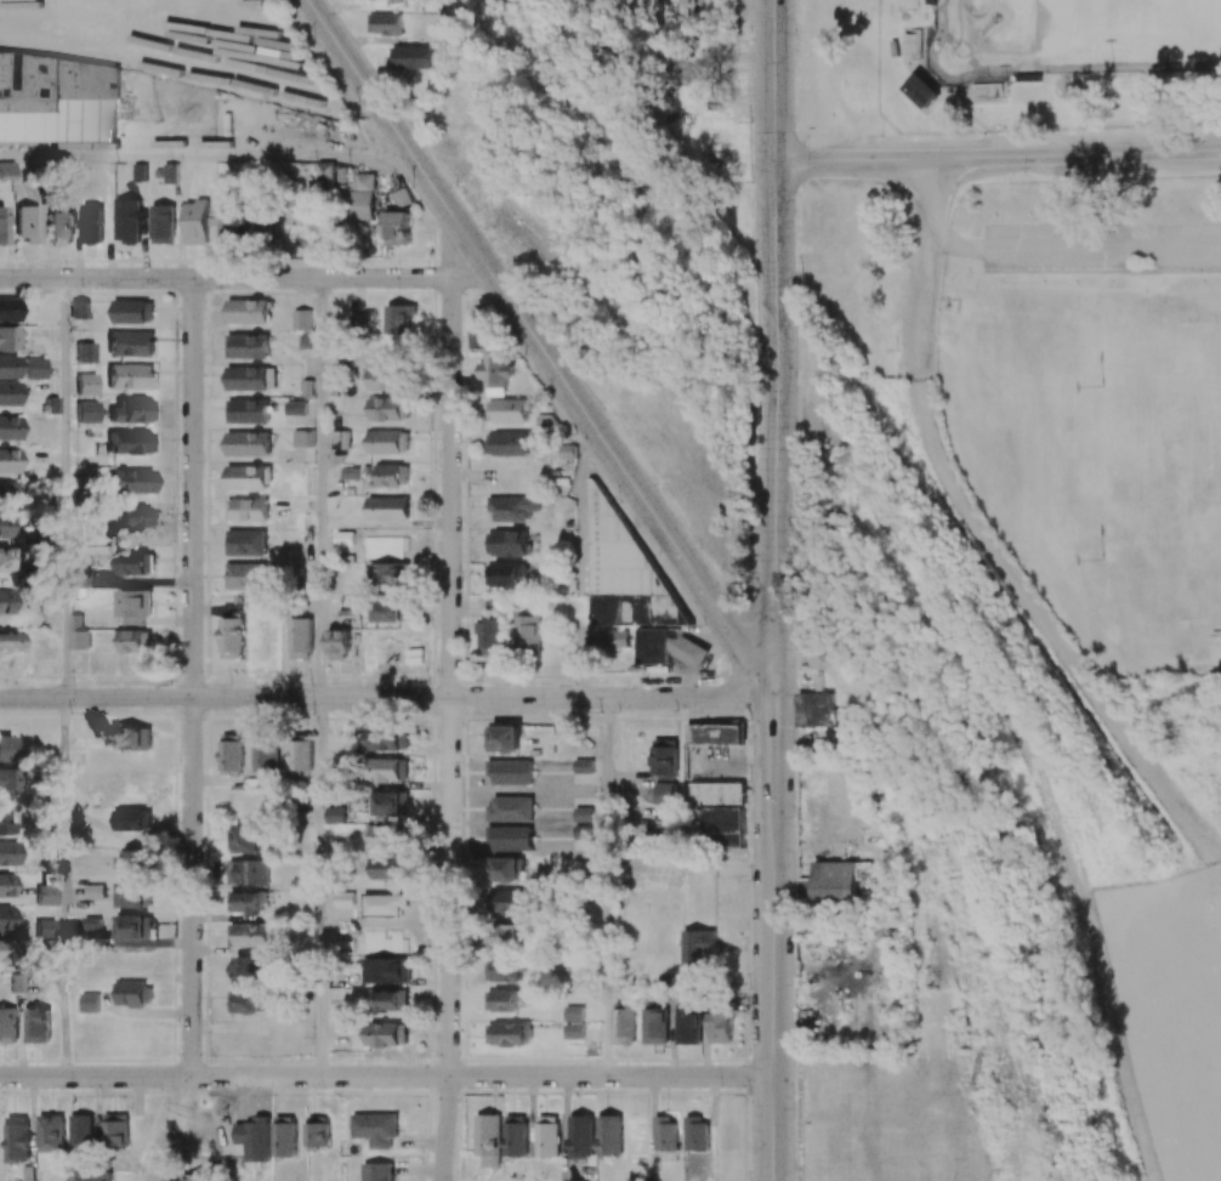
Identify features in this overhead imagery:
building: (930, 1)
park: (1072, 38)
building: (416, 57)
building: (986, 91)
building: (921, 92)
building: (479, 96)
building: (87, 113)
road: (205, 157)
road: (998, 157)
building: (7, 171)
building: (170, 172)
building: (325, 176)
building: (357, 198)
building: (127, 220)
building: (197, 222)
building: (91, 223)
building: (161, 223)
building: (223, 223)
building: (257, 223)
building: (27, 225)
building: (2, 226)
building: (397, 227)
building: (61, 228)
road: (242, 279)
building: (8, 311)
building: (132, 311)
building: (246, 311)
building: (398, 318)
park: (1046, 319)
building: (479, 329)
building: (8, 339)
building: (130, 343)
building: (248, 346)
road: (539, 348)
road: (774, 348)
building: (85, 352)
building: (8, 367)
building: (33, 368)
building: (495, 373)
building: (130, 376)
building: (250, 377)
building: (385, 377)
building: (85, 385)
building: (8, 393)
building: (294, 408)
building: (388, 408)
building: (248, 410)
building: (511, 410)
building: (132, 411)
building: (86, 413)
building: (8, 428)
building: (302, 438)
building: (334, 439)
building: (388, 442)
building: (130, 443)
building: (248, 443)
building: (509, 443)
building: (8, 461)
building: (350, 472)
park: (1168, 472)
building: (391, 475)
building: (246, 477)
building: (131, 482)
road: (452, 488)
road: (192, 489)
building: (6, 494)
building: (511, 507)
building: (246, 509)
building: (387, 509)
building: (134, 517)
building: (4, 527)
building: (245, 543)
building: (506, 543)
building: (6, 560)
building: (135, 563)
building: (635, 564)
building: (388, 574)
building: (504, 574)
building: (245, 575)
building: (81, 577)
building: (5, 602)
building: (494, 603)
building: (134, 607)
building: (391, 609)
building: (602, 609)
building: (527, 632)
building: (492, 635)
building: (231, 637)
building: (266, 637)
building: (300, 637)
building: (79, 638)
building: (614, 640)
building: (8, 641)
building: (135, 641)
building: (337, 643)
building: (649, 646)
building: (691, 653)
road: (63, 677)
road: (319, 677)
traffic signals: (774, 697)
road: (387, 698)
building: (814, 709)
building: (714, 733)
building: (131, 738)
building: (386, 738)
building: (505, 738)
building: (5, 749)
building: (265, 754)
building: (231, 755)
building: (300, 755)
building: (665, 757)
building: (387, 770)
building: (10, 780)
building: (666, 793)
building: (391, 802)
building: (335, 814)
building: (132, 819)
building: (4, 822)
building: (385, 836)
building: (243, 839)
building: (10, 853)
building: (132, 862)
building: (388, 868)
building: (507, 869)
building: (248, 871)
building: (839, 882)
building: (5, 885)
road: (607, 887)
building: (135, 893)
building: (46, 895)
building: (246, 901)
building: (510, 902)
building: (5, 919)
building: (92, 922)
building: (134, 927)
building: (45, 929)
building: (249, 935)
building: (509, 935)
road: (773, 938)
road: (450, 939)
road: (192, 942)
building: (4, 952)
building: (697, 952)
building: (248, 969)
building: (504, 969)
building: (386, 970)
building: (17, 984)
building: (135, 994)
building: (245, 1000)
building: (504, 1000)
building: (391, 1001)
building: (89, 1003)
building: (573, 1012)
building: (623, 1023)
building: (38, 1024)
building: (8, 1026)
building: (655, 1026)
building: (689, 1026)
building: (721, 1026)
building: (573, 1030)
building: (509, 1033)
building: (386, 1034)
road: (386, 1077)
building: (375, 1128)
building: (115, 1130)
building: (317, 1131)
building: (665, 1132)
building: (51, 1134)
building: (697, 1134)
building: (515, 1135)
building: (547, 1135)
building: (581, 1135)
building: (81, 1136)
building: (284, 1136)
building: (609, 1136)
building: (16, 1137)
building: (488, 1139)
building: (376, 1171)
building: (90, 1176)
building: (197, 1177)
building: (578, 1180)

